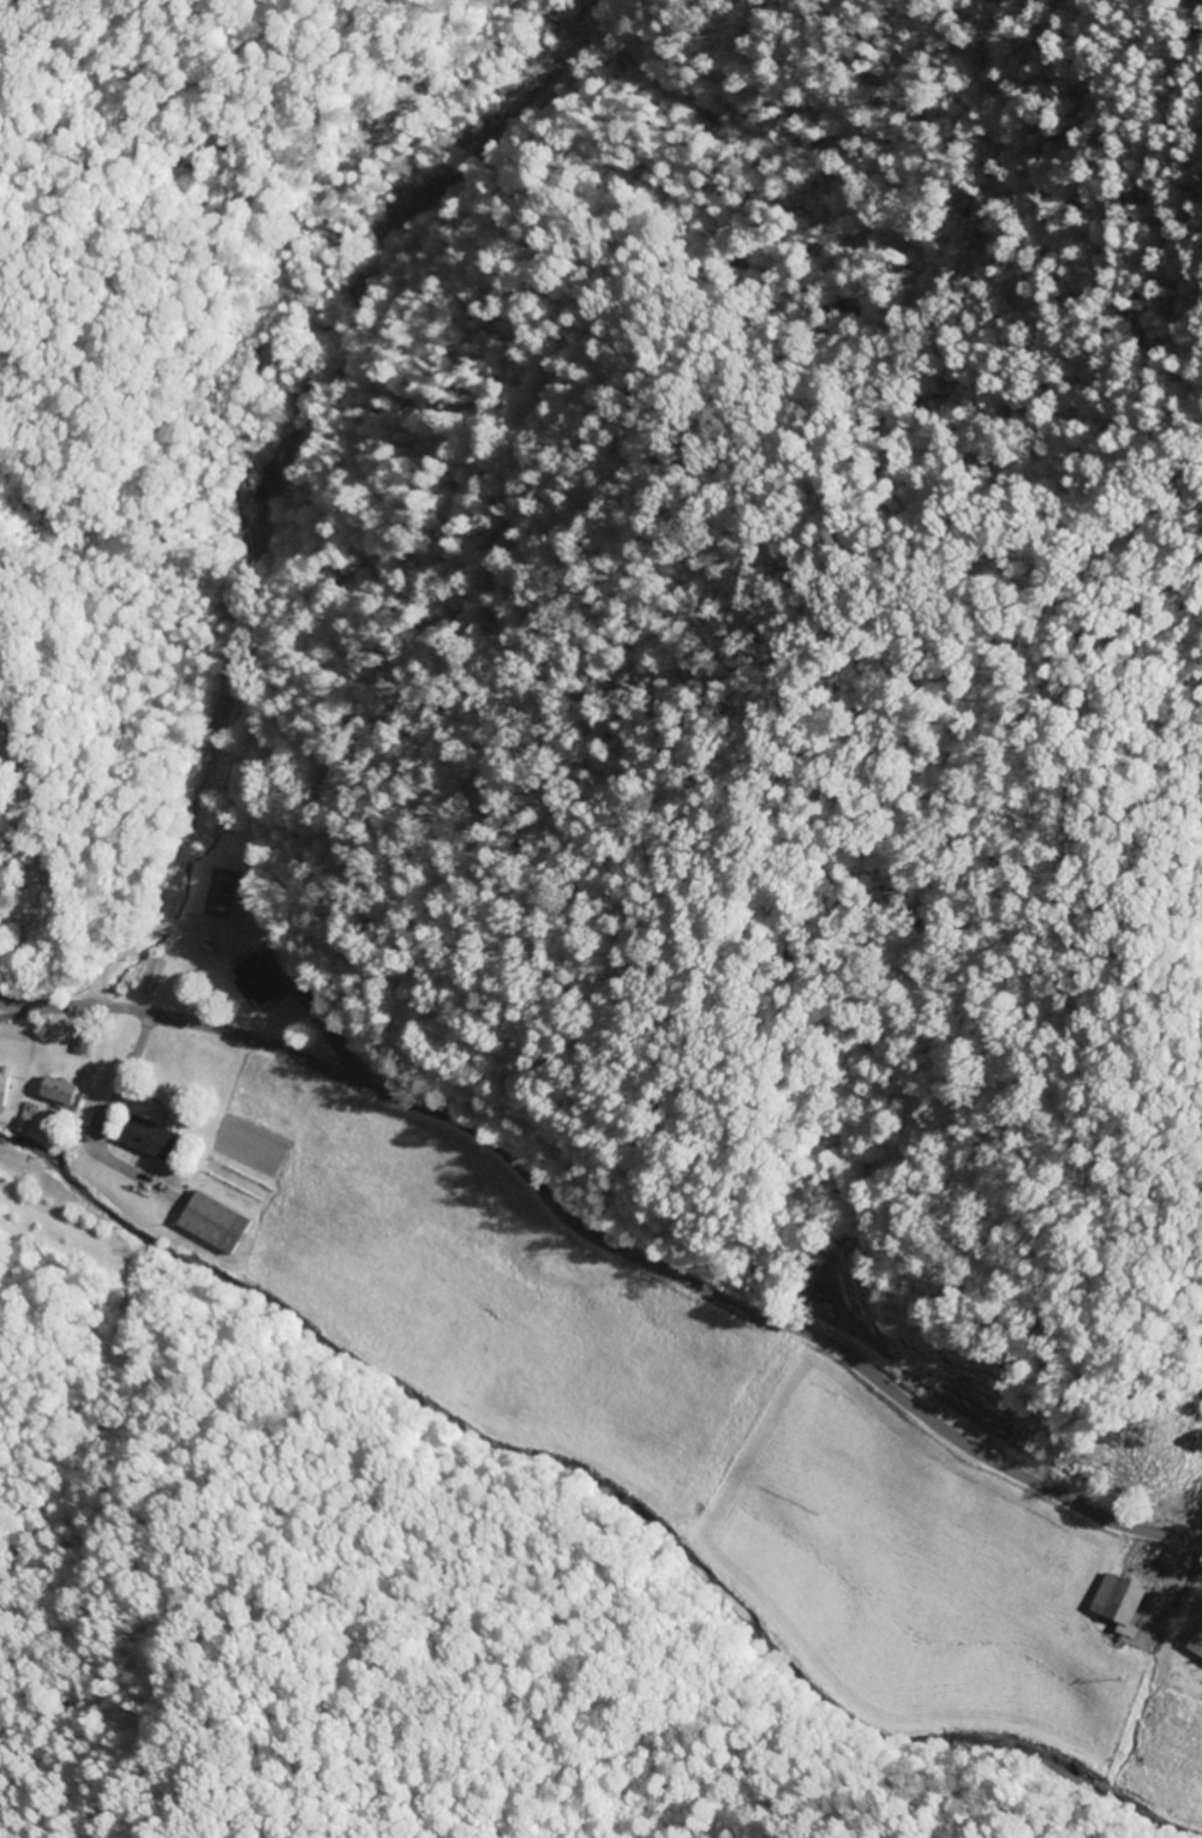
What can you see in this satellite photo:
building: (223, 894)
building: (258, 982)
building: (5, 1085)
building: (65, 1090)
building: (157, 1137)
building: (217, 1223)
road: (605, 1245)
building: (1125, 1597)
building: (1195, 1645)

